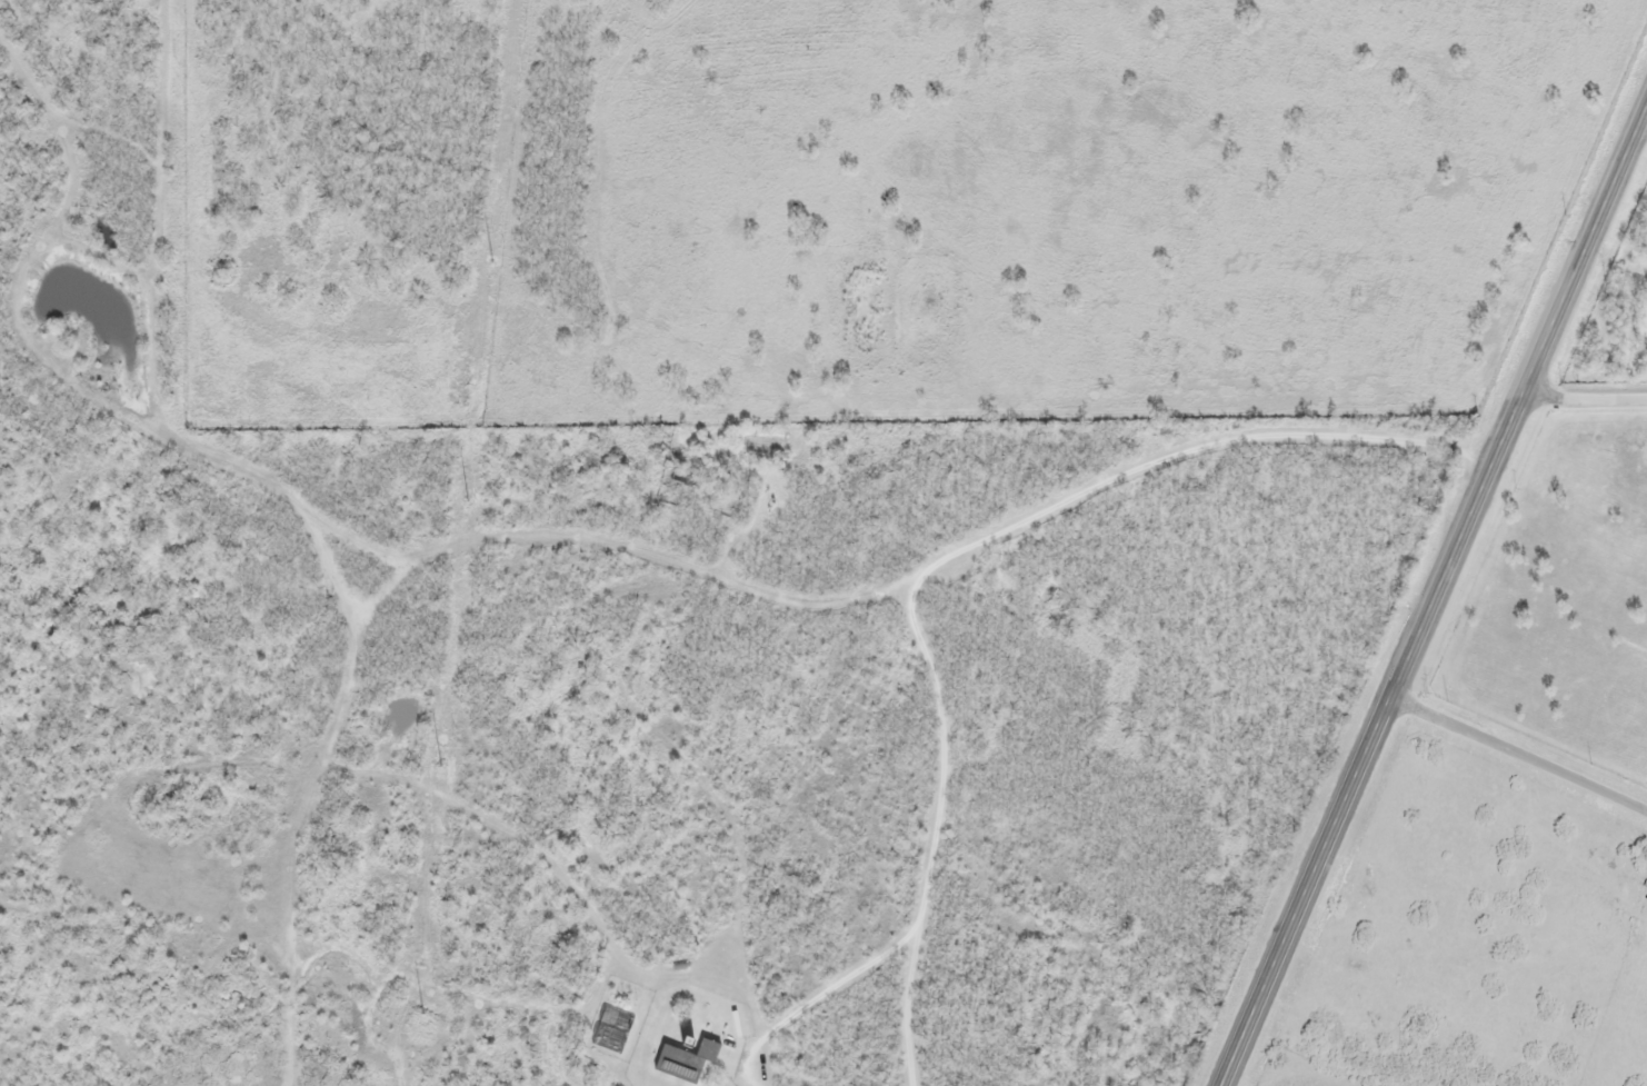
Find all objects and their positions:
power tower: (489, 261)
road: (1585, 397)
power tower: (465, 500)
road: (506, 550)
road: (1435, 598)
road: (1520, 750)
power tower: (438, 766)
power tower: (417, 1014)
building: (685, 1063)

